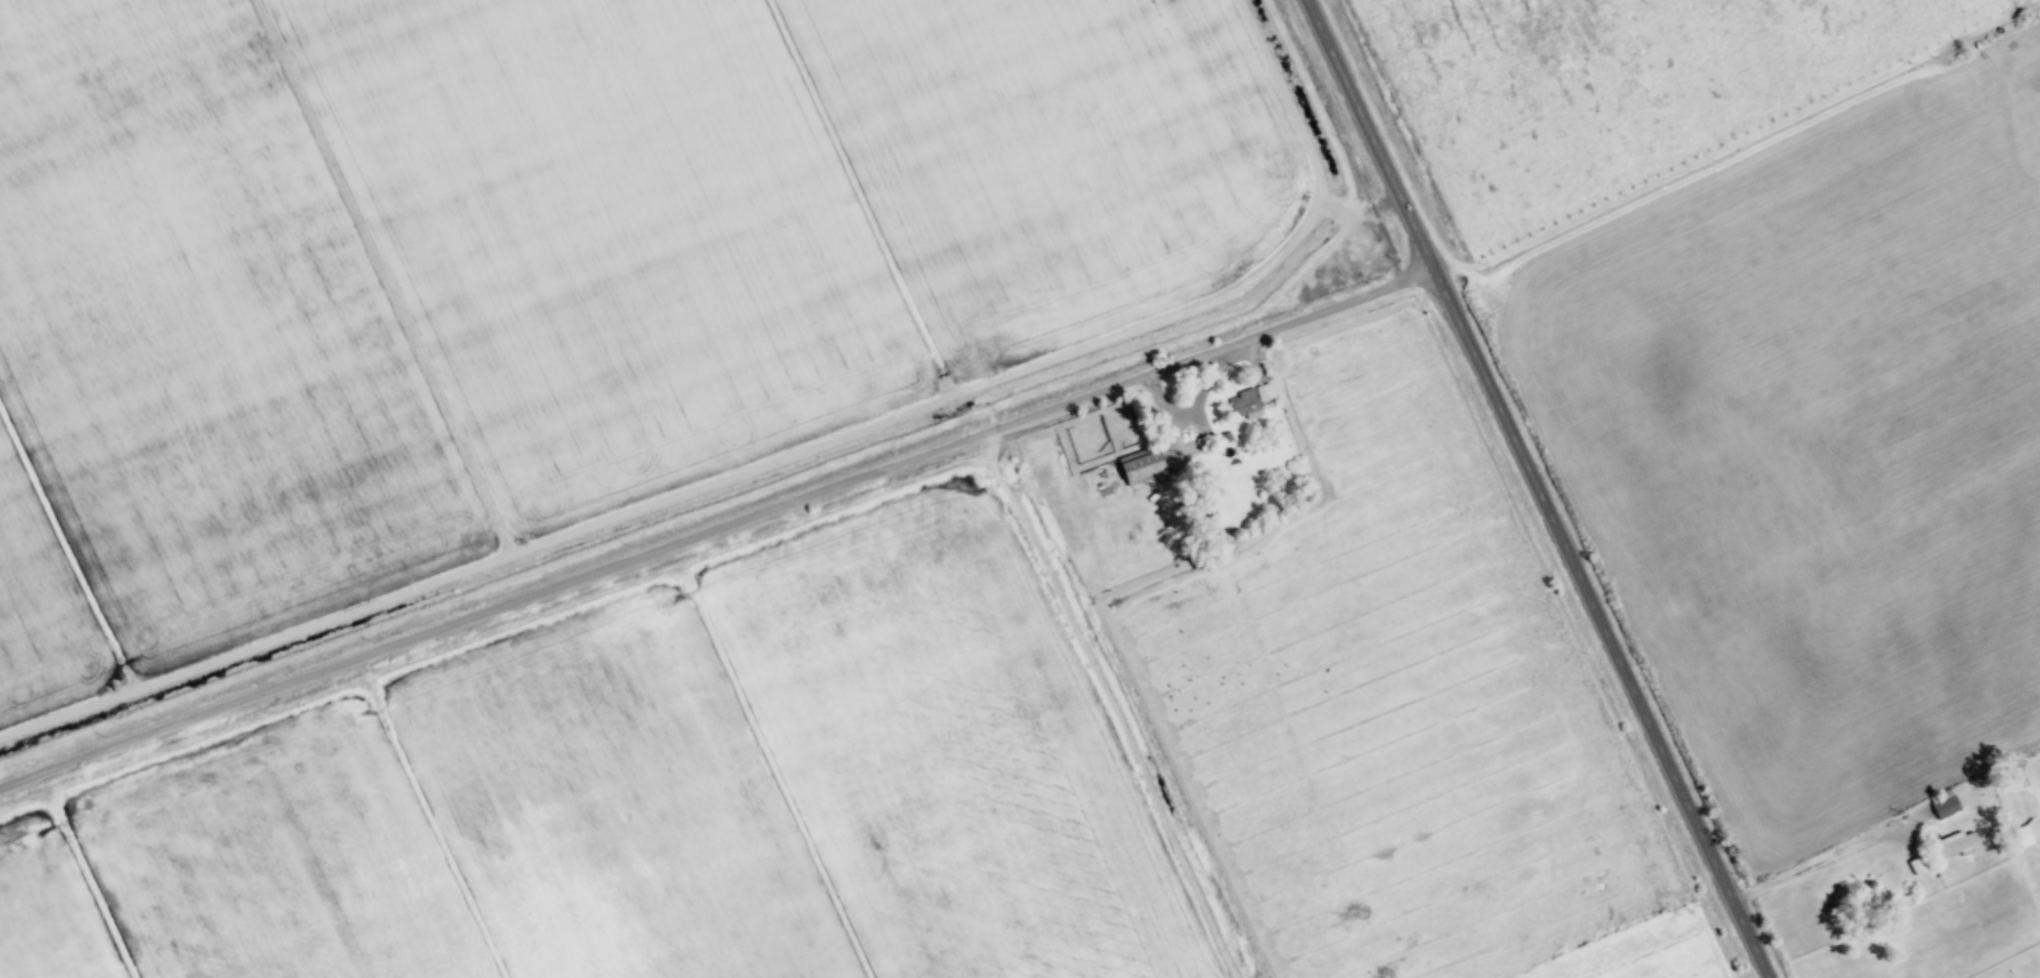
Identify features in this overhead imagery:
building: (1247, 403)
building: (1136, 468)
road: (1539, 488)
road: (715, 531)
building: (1943, 807)
building: (1953, 843)
road: (1811, 868)

